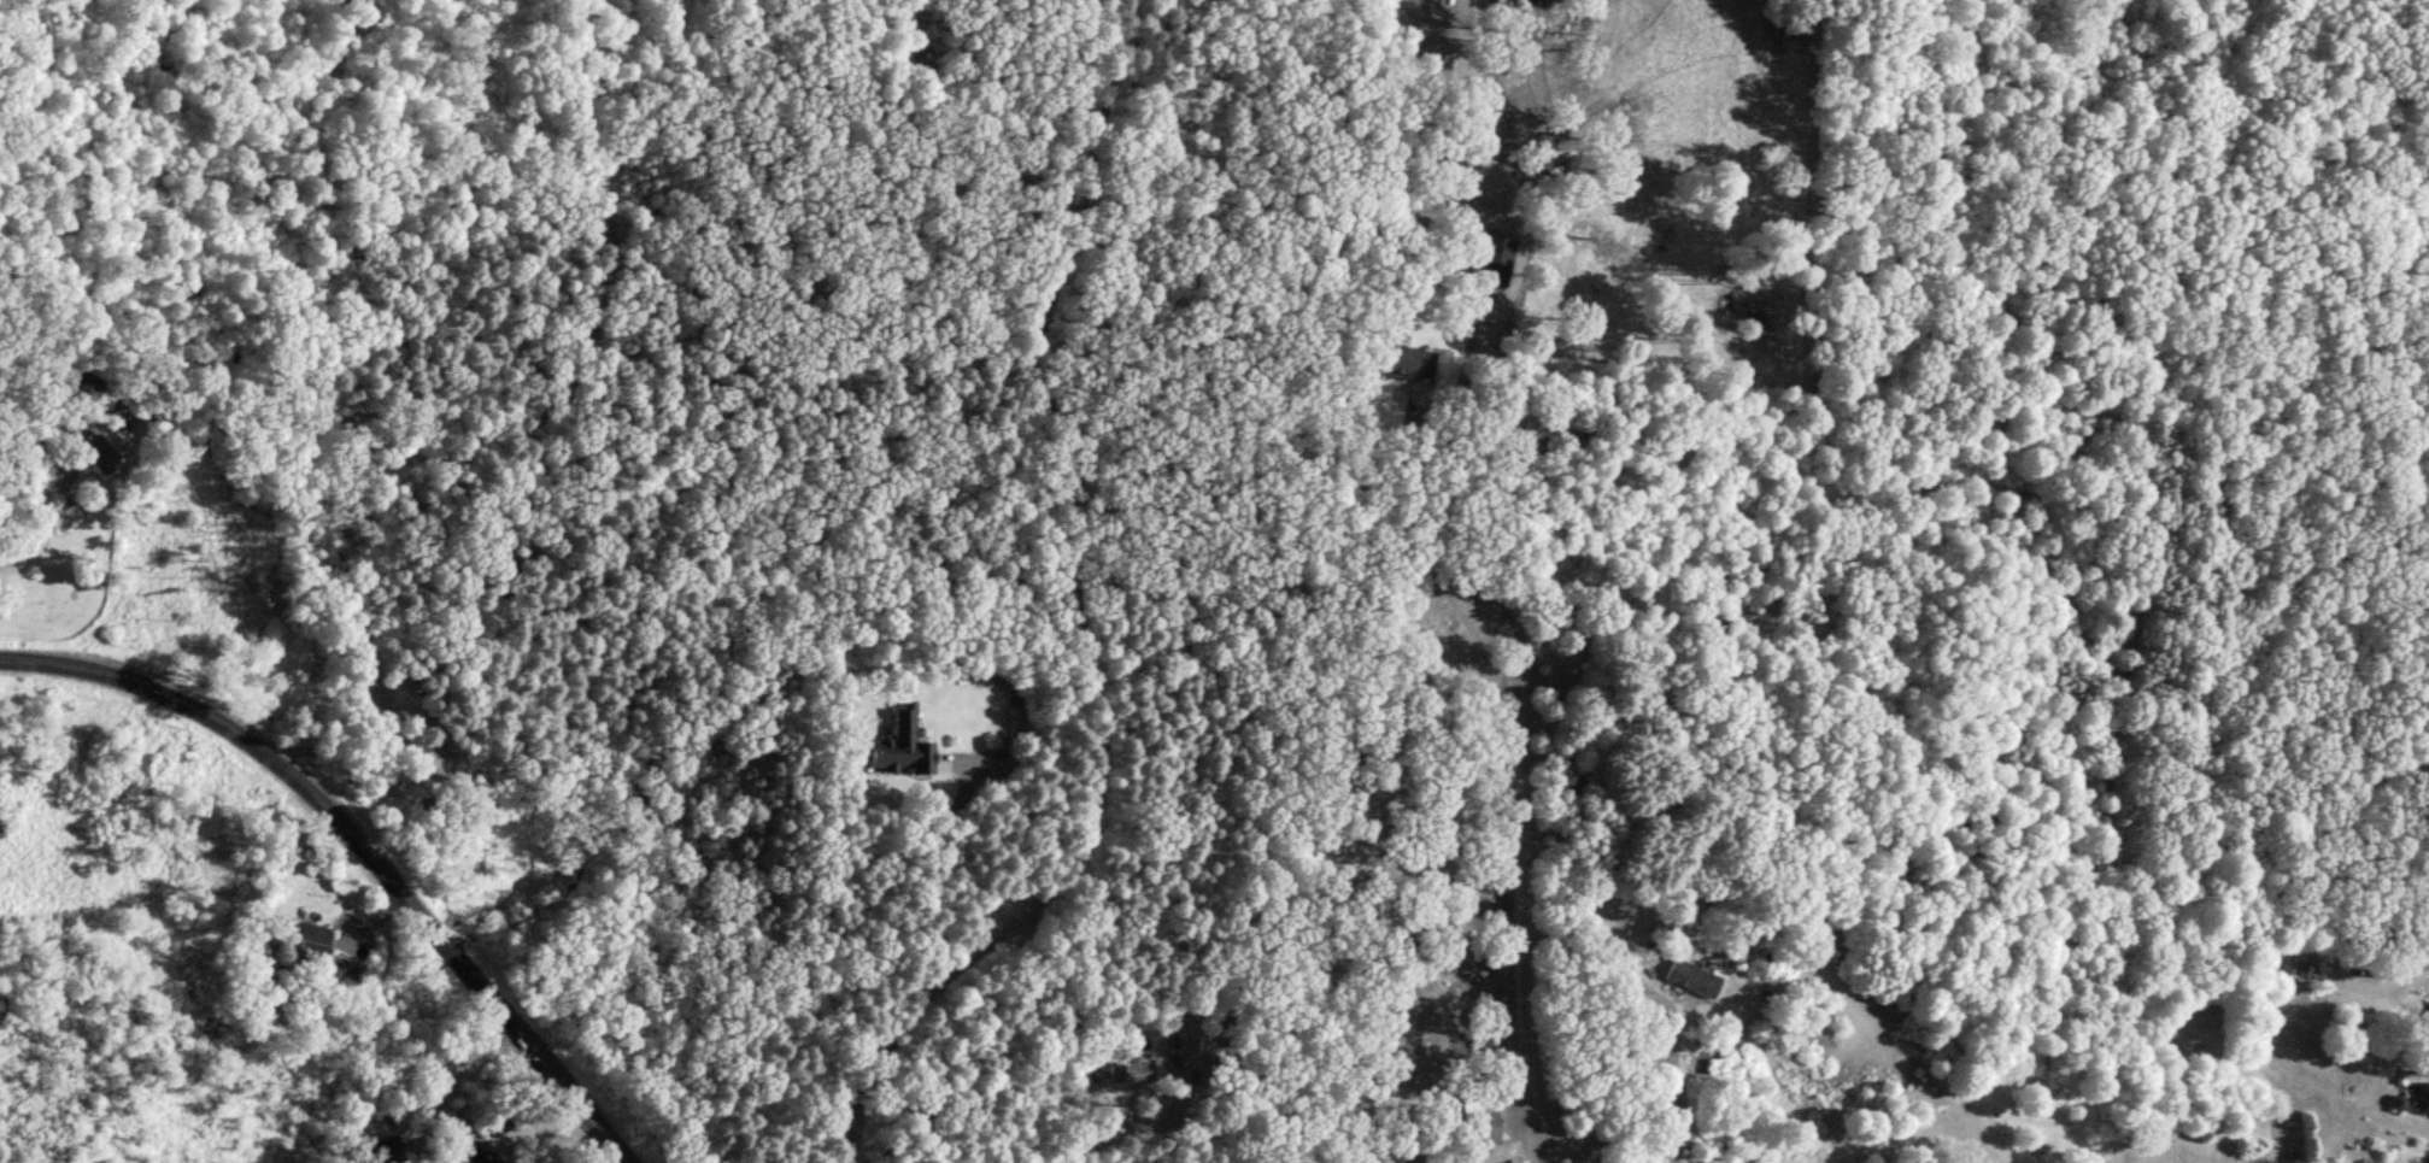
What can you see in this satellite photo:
park: (2312, 2)
road: (1119, 87)
building: (1492, 260)
building: (1400, 368)
road: (1408, 531)
road: (1095, 539)
building: (898, 752)
road: (362, 839)
road: (1526, 882)
building: (293, 942)
building: (1688, 983)
road: (911, 1014)
building: (1138, 1076)
road: (445, 1082)
road: (1672, 1089)
building: (2424, 1108)
road: (1087, 1116)
building: (1479, 1127)
building: (381, 1153)

